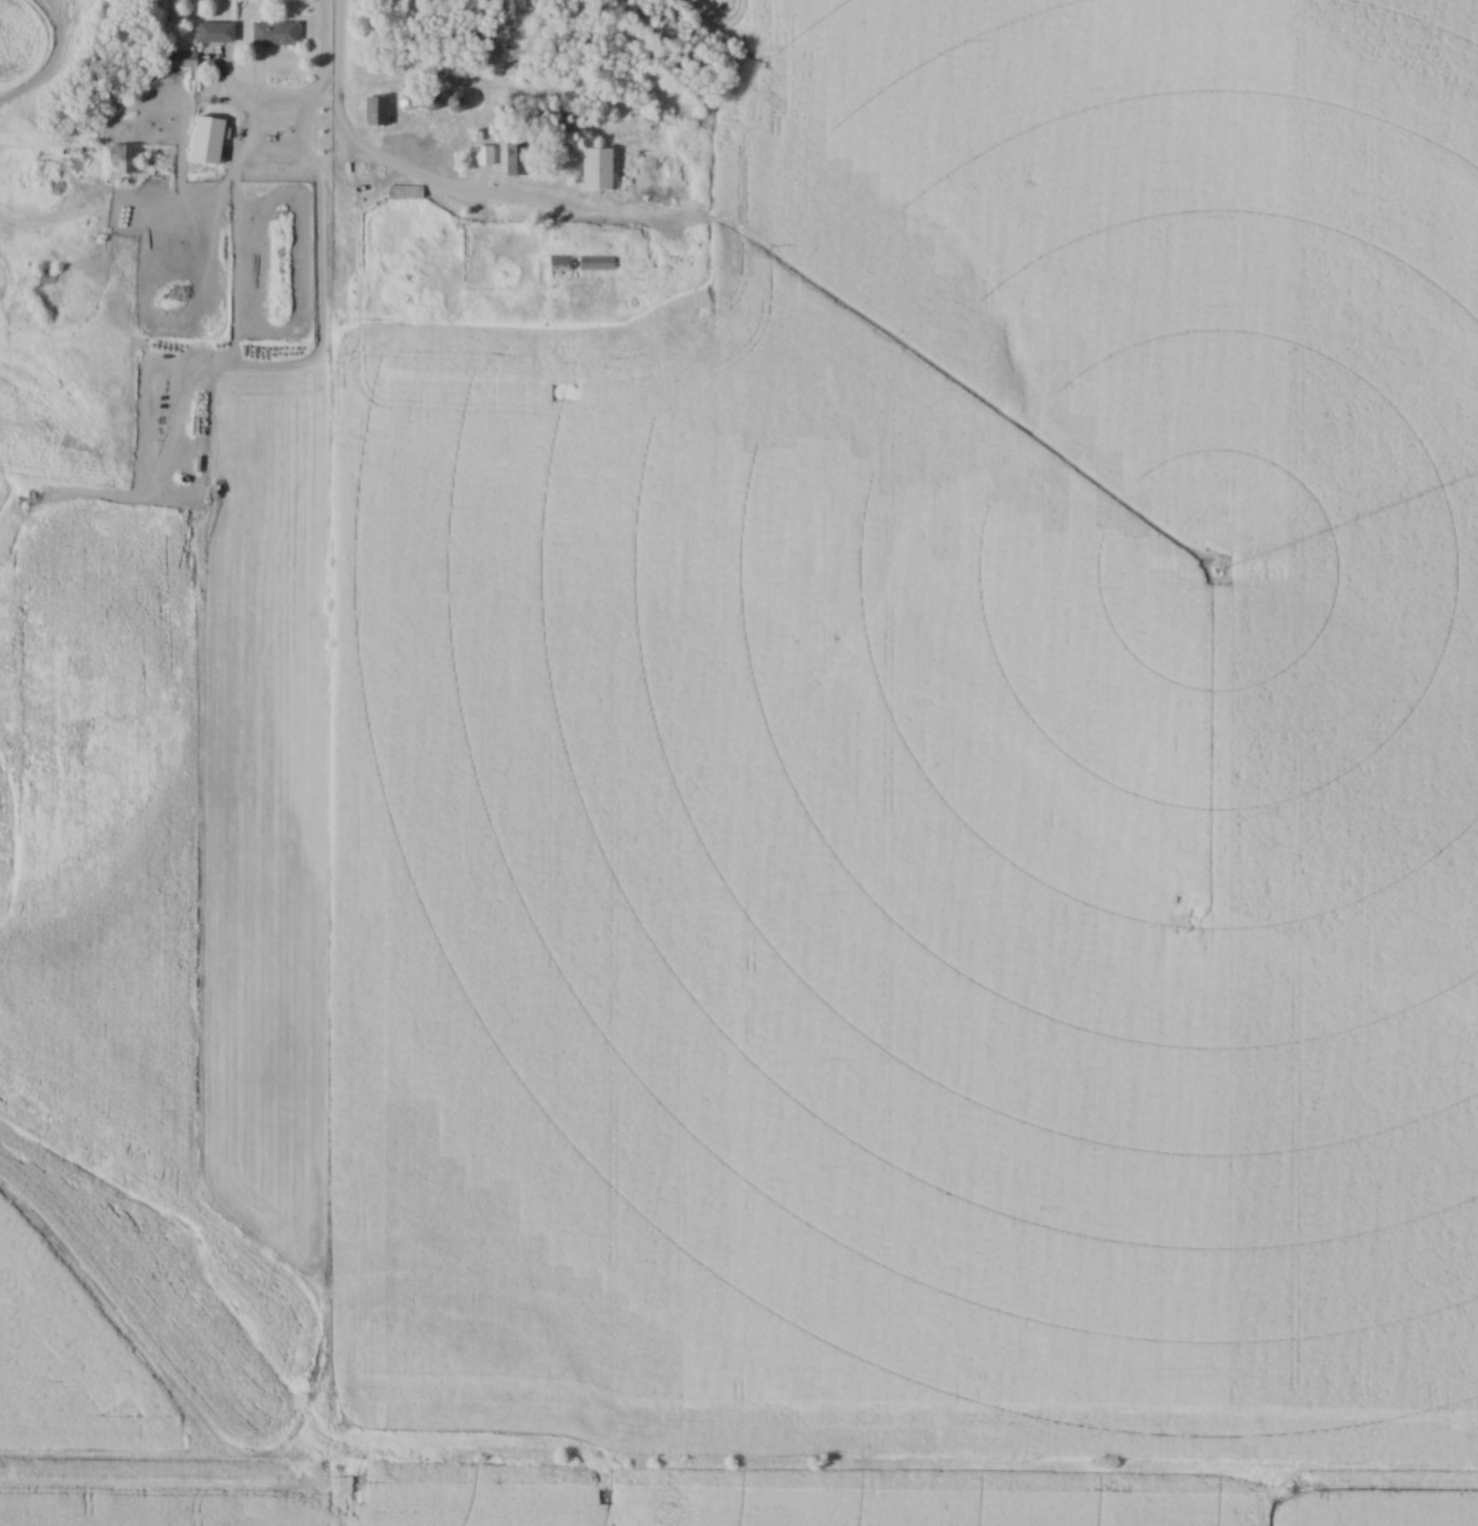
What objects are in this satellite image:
building: (215, 34)
building: (274, 35)
building: (181, 60)
road: (324, 65)
building: (375, 113)
building: (483, 157)
building: (515, 160)
building: (124, 161)
building: (596, 170)
road: (392, 172)
building: (596, 263)
building: (558, 268)
building: (45, 278)

